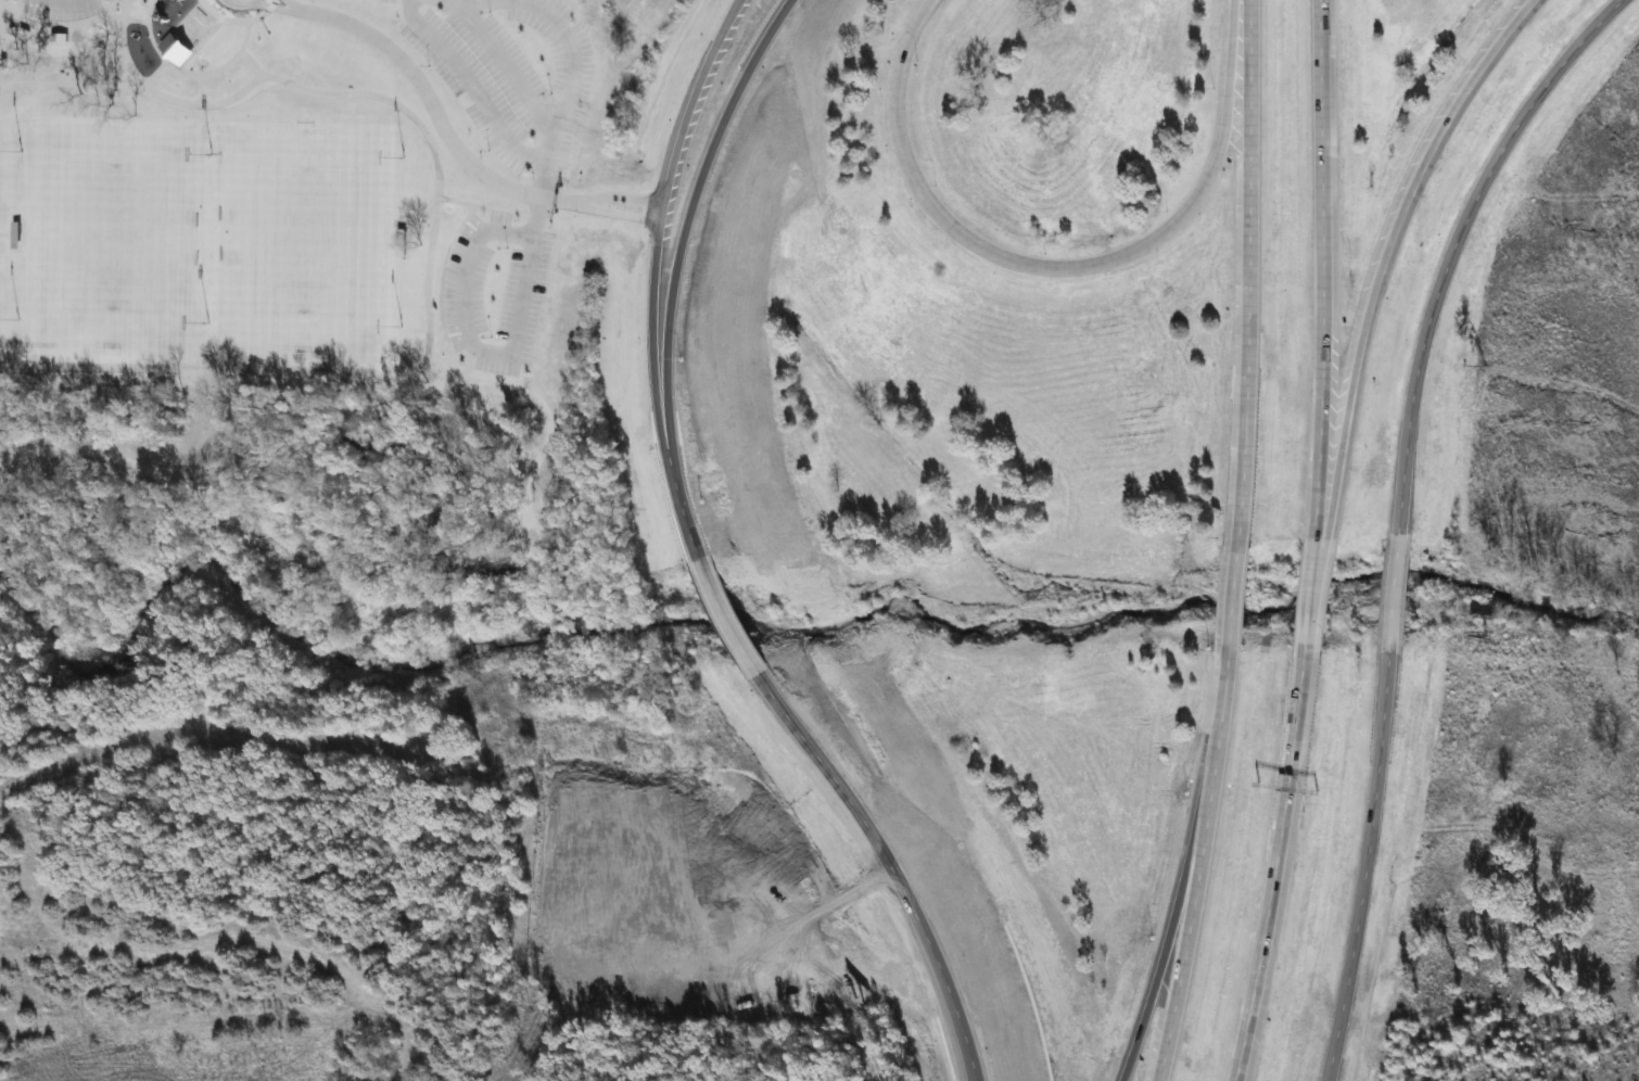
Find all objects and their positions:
road: (238, 2)
road: (266, 3)
road: (287, 4)
road: (4, 13)
road: (123, 16)
road: (237, 18)
road: (1600, 22)
road: (59, 23)
building: (186, 33)
road: (252, 59)
road: (504, 62)
road: (186, 69)
road: (87, 81)
road: (469, 84)
road: (198, 86)
road: (368, 91)
road: (560, 106)
road: (433, 109)
road: (623, 196)
road: (622, 212)
road: (687, 224)
park: (113, 240)
park: (305, 243)
road: (1384, 251)
road: (1055, 267)
road: (1248, 268)
road: (1319, 269)
road: (1445, 272)
road: (657, 274)
park: (347, 284)
road: (466, 341)
road: (418, 376)
road: (314, 414)
road: (8, 449)
road: (539, 554)
road: (1317, 573)
road: (1393, 594)
road: (1232, 596)
road: (1309, 596)
road: (720, 609)
road: (884, 856)
road: (1273, 867)
road: (1370, 868)
road: (1202, 869)
road: (1166, 945)

